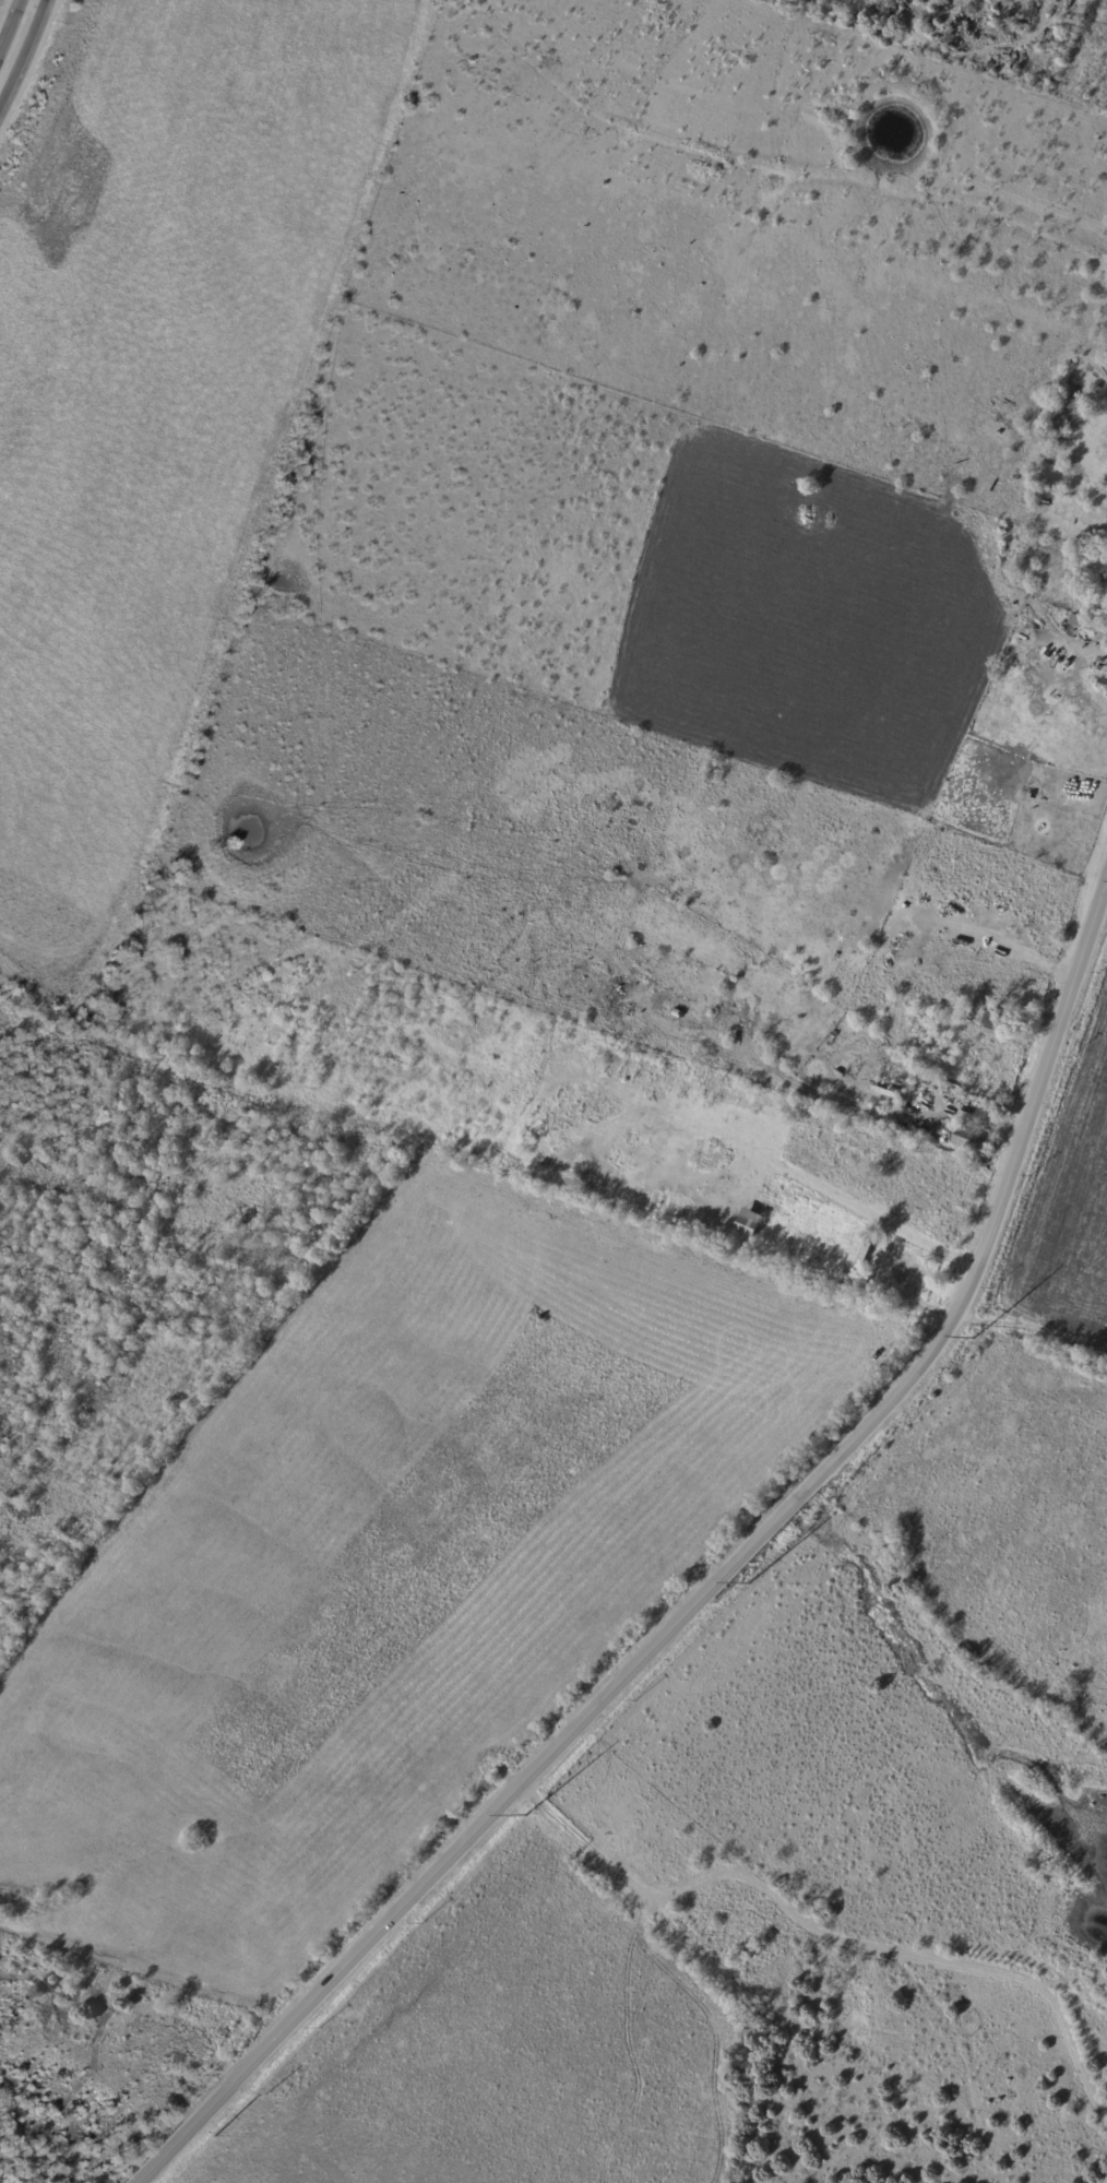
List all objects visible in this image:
road: (17, 43)
building: (1074, 405)
building: (1104, 579)
building: (1103, 616)
building: (1090, 622)
building: (1106, 644)
building: (1104, 661)
building: (1103, 666)
building: (1100, 673)
building: (1104, 684)
building: (679, 1004)
building: (678, 1012)
building: (991, 1022)
building: (888, 1075)
building: (901, 1128)
building: (916, 1134)
building: (968, 1139)
building: (882, 1181)
road: (870, 1210)
building: (749, 1223)
building: (858, 1258)
building: (814, 1266)
building: (853, 1284)
road: (705, 1590)
road: (824, 1932)

